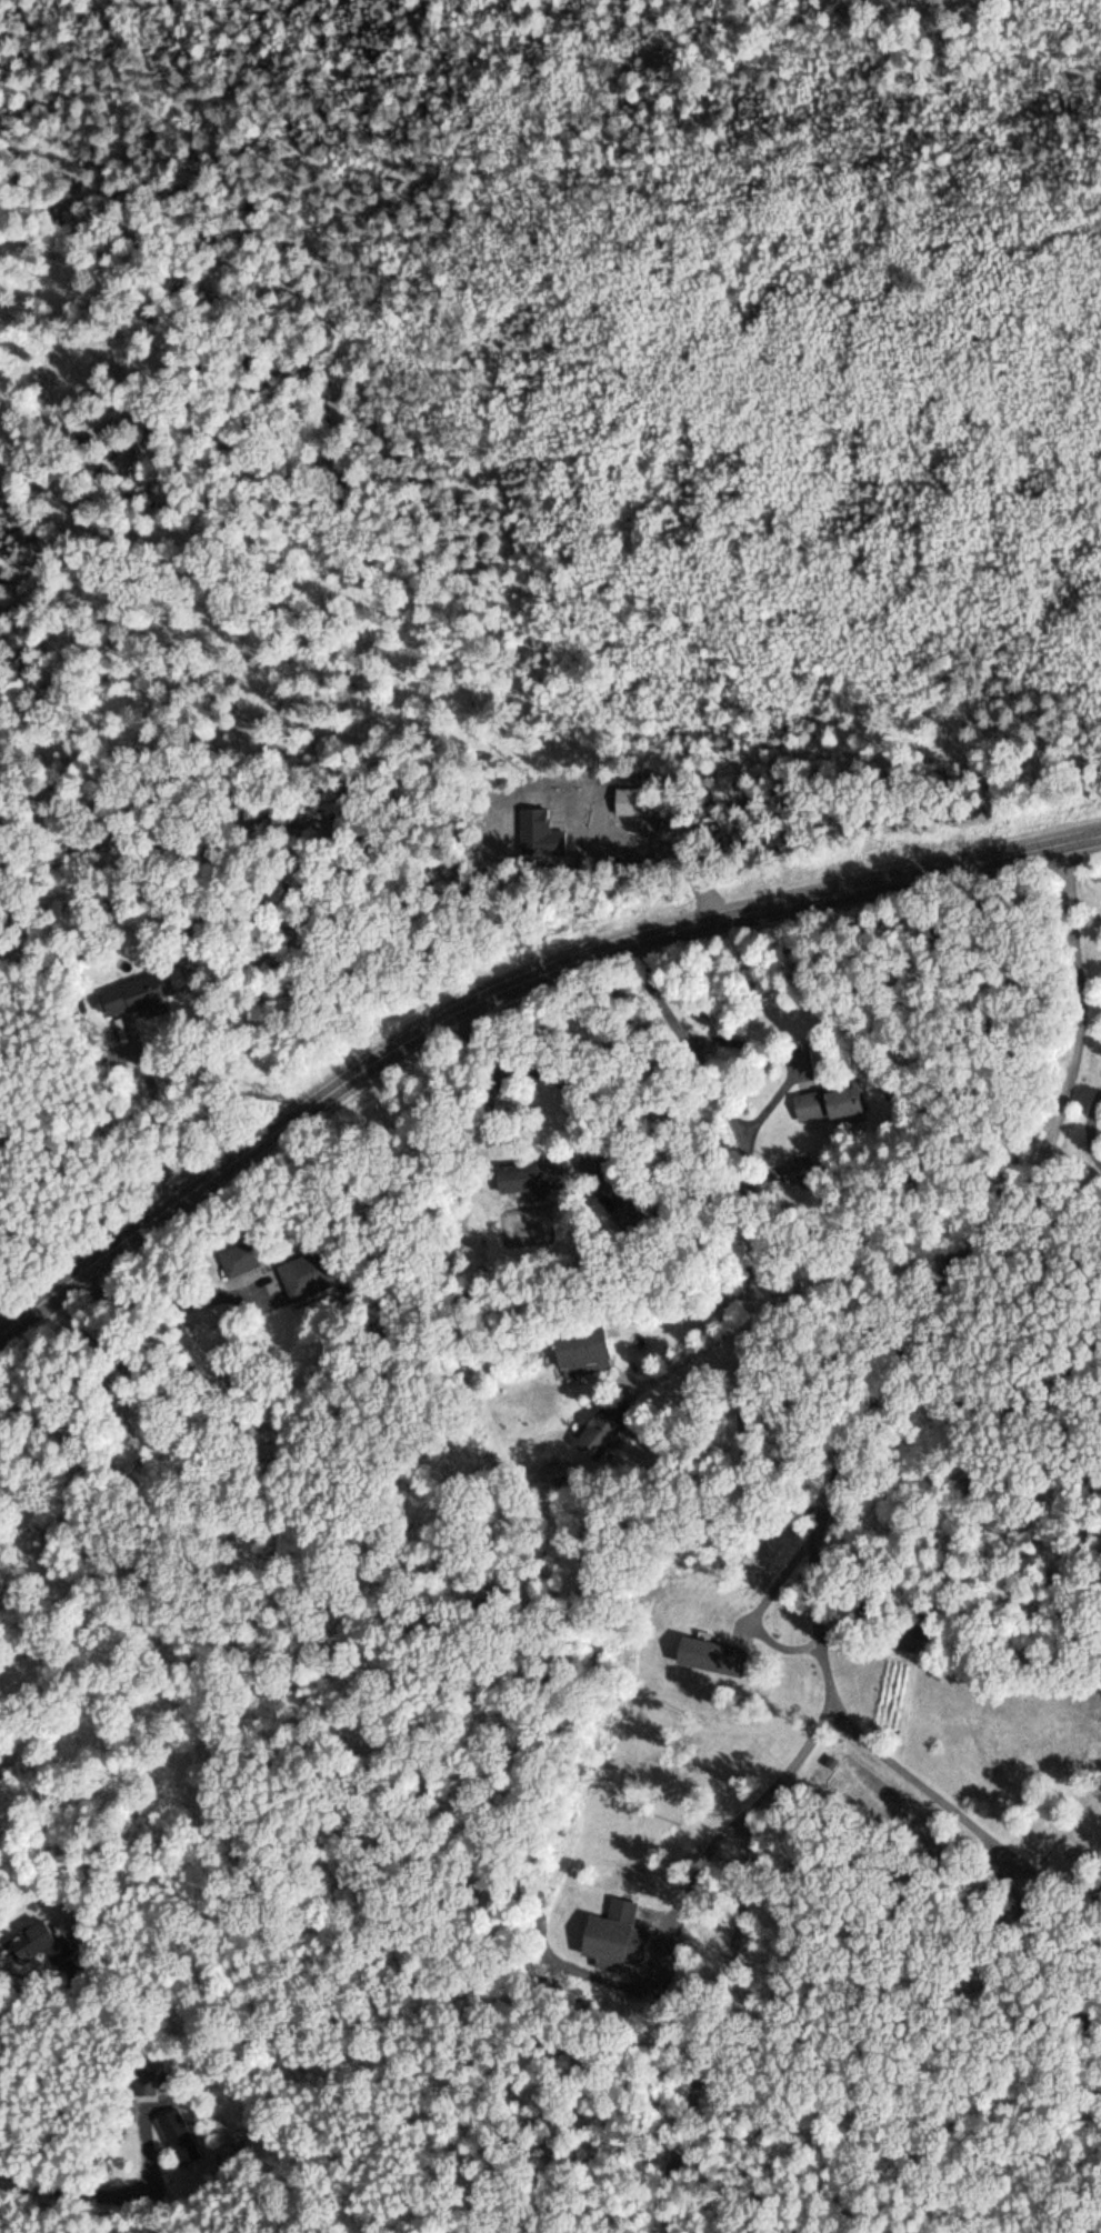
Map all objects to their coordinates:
road: (506, 990)
building: (136, 995)
road: (808, 1025)
building: (824, 1103)
building: (794, 1169)
building: (524, 1175)
building: (238, 1258)
building: (311, 1271)
road: (602, 1296)
building: (580, 1350)
building: (597, 1432)
road: (788, 1519)
building: (709, 1655)
road: (759, 1715)
building: (607, 1935)
building: (39, 1942)
road: (8, 2029)
building: (143, 2085)
building: (174, 2136)
road: (109, 2191)

